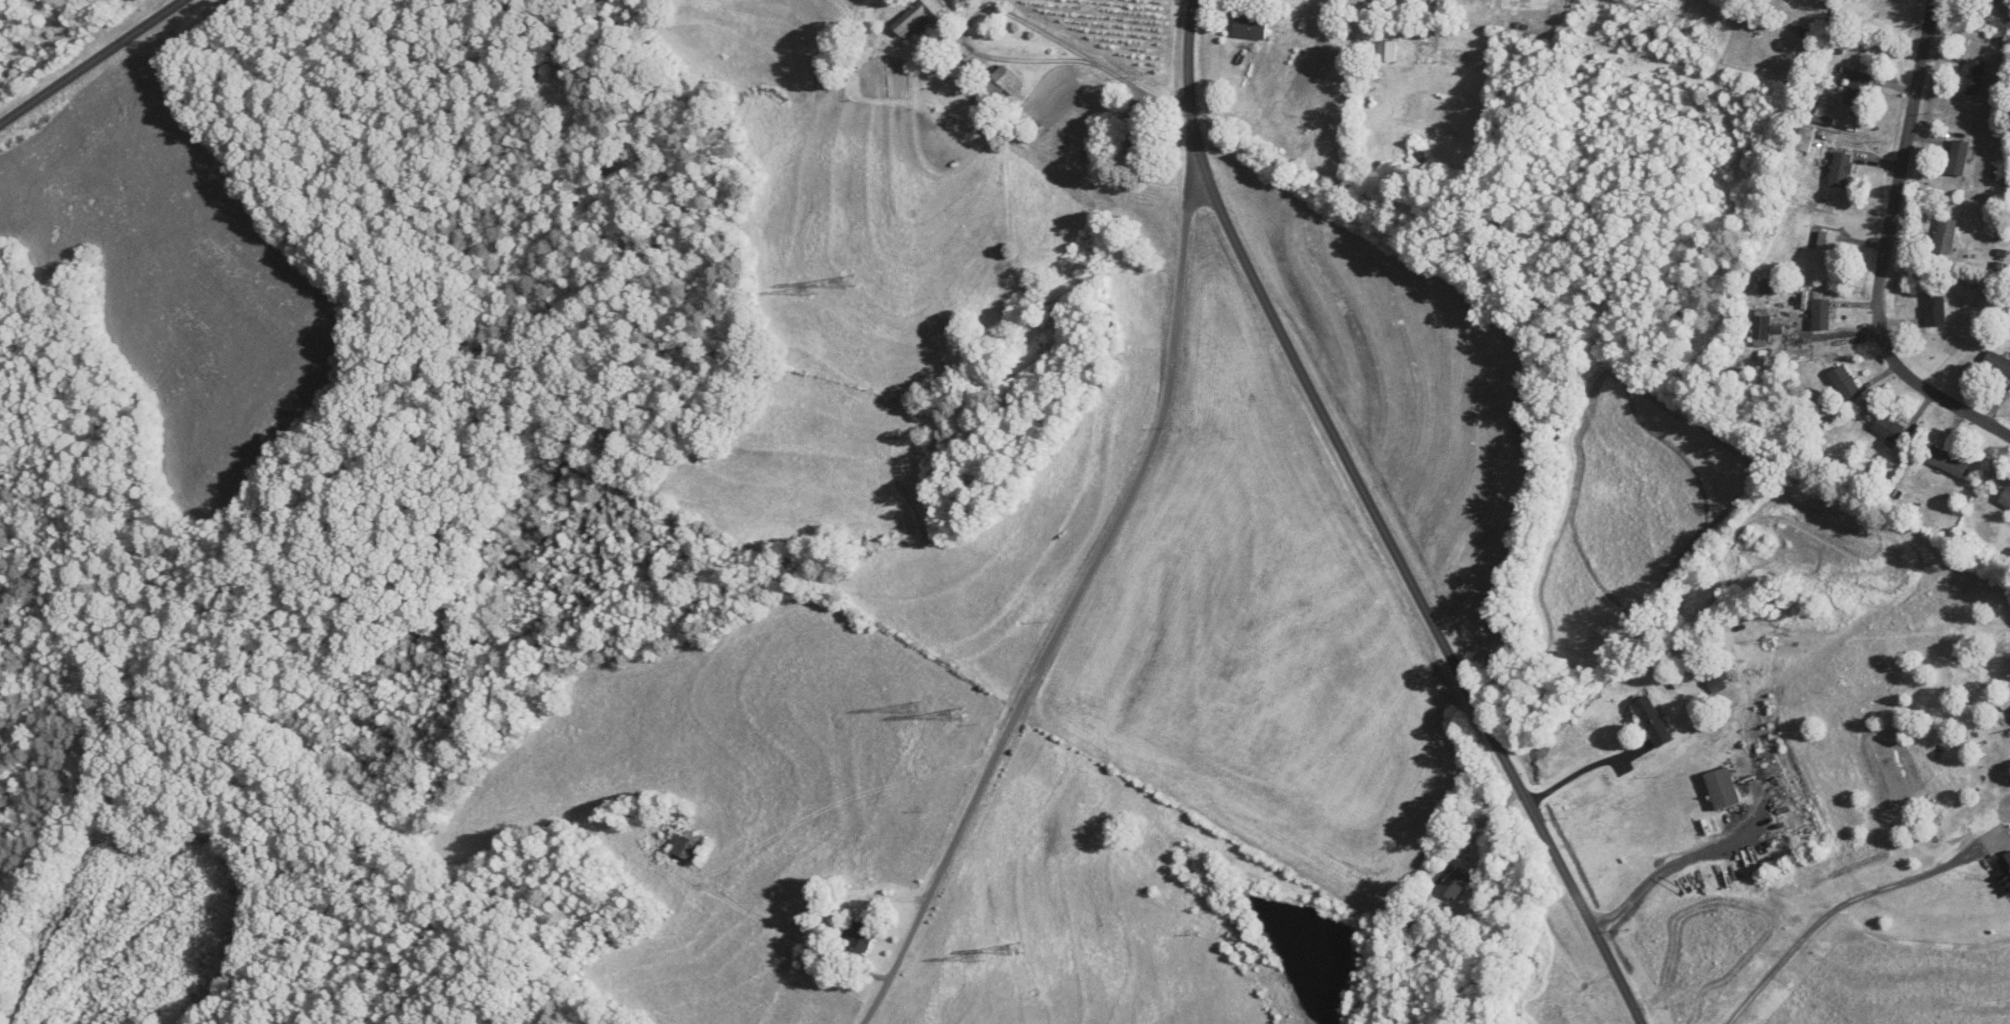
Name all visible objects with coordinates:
building: (918, 17)
building: (1251, 29)
building: (1388, 52)
road: (90, 62)
building: (963, 67)
building: (1974, 77)
building: (1004, 83)
building: (1859, 90)
building: (1137, 136)
building: (1805, 141)
building: (1959, 159)
building: (1841, 171)
building: (1946, 237)
building: (1826, 249)
road: (1890, 249)
road: (1700, 284)
power tower: (849, 285)
power tower: (815, 290)
building: (1936, 310)
building: (1822, 315)
building: (1762, 326)
building: (1998, 366)
building: (1846, 385)
building: (1892, 431)
building: (1949, 462)
building: (2005, 498)
road: (1380, 522)
road: (1066, 611)
building: (1718, 683)
power tower: (919, 707)
power tower: (957, 715)
building: (1654, 721)
road: (1567, 781)
building: (1725, 789)
building: (688, 845)
road: (1648, 879)
building: (1455, 884)
road: (1822, 918)
building: (860, 936)
power tower: (1015, 949)
power tower: (982, 955)
building: (808, 959)

